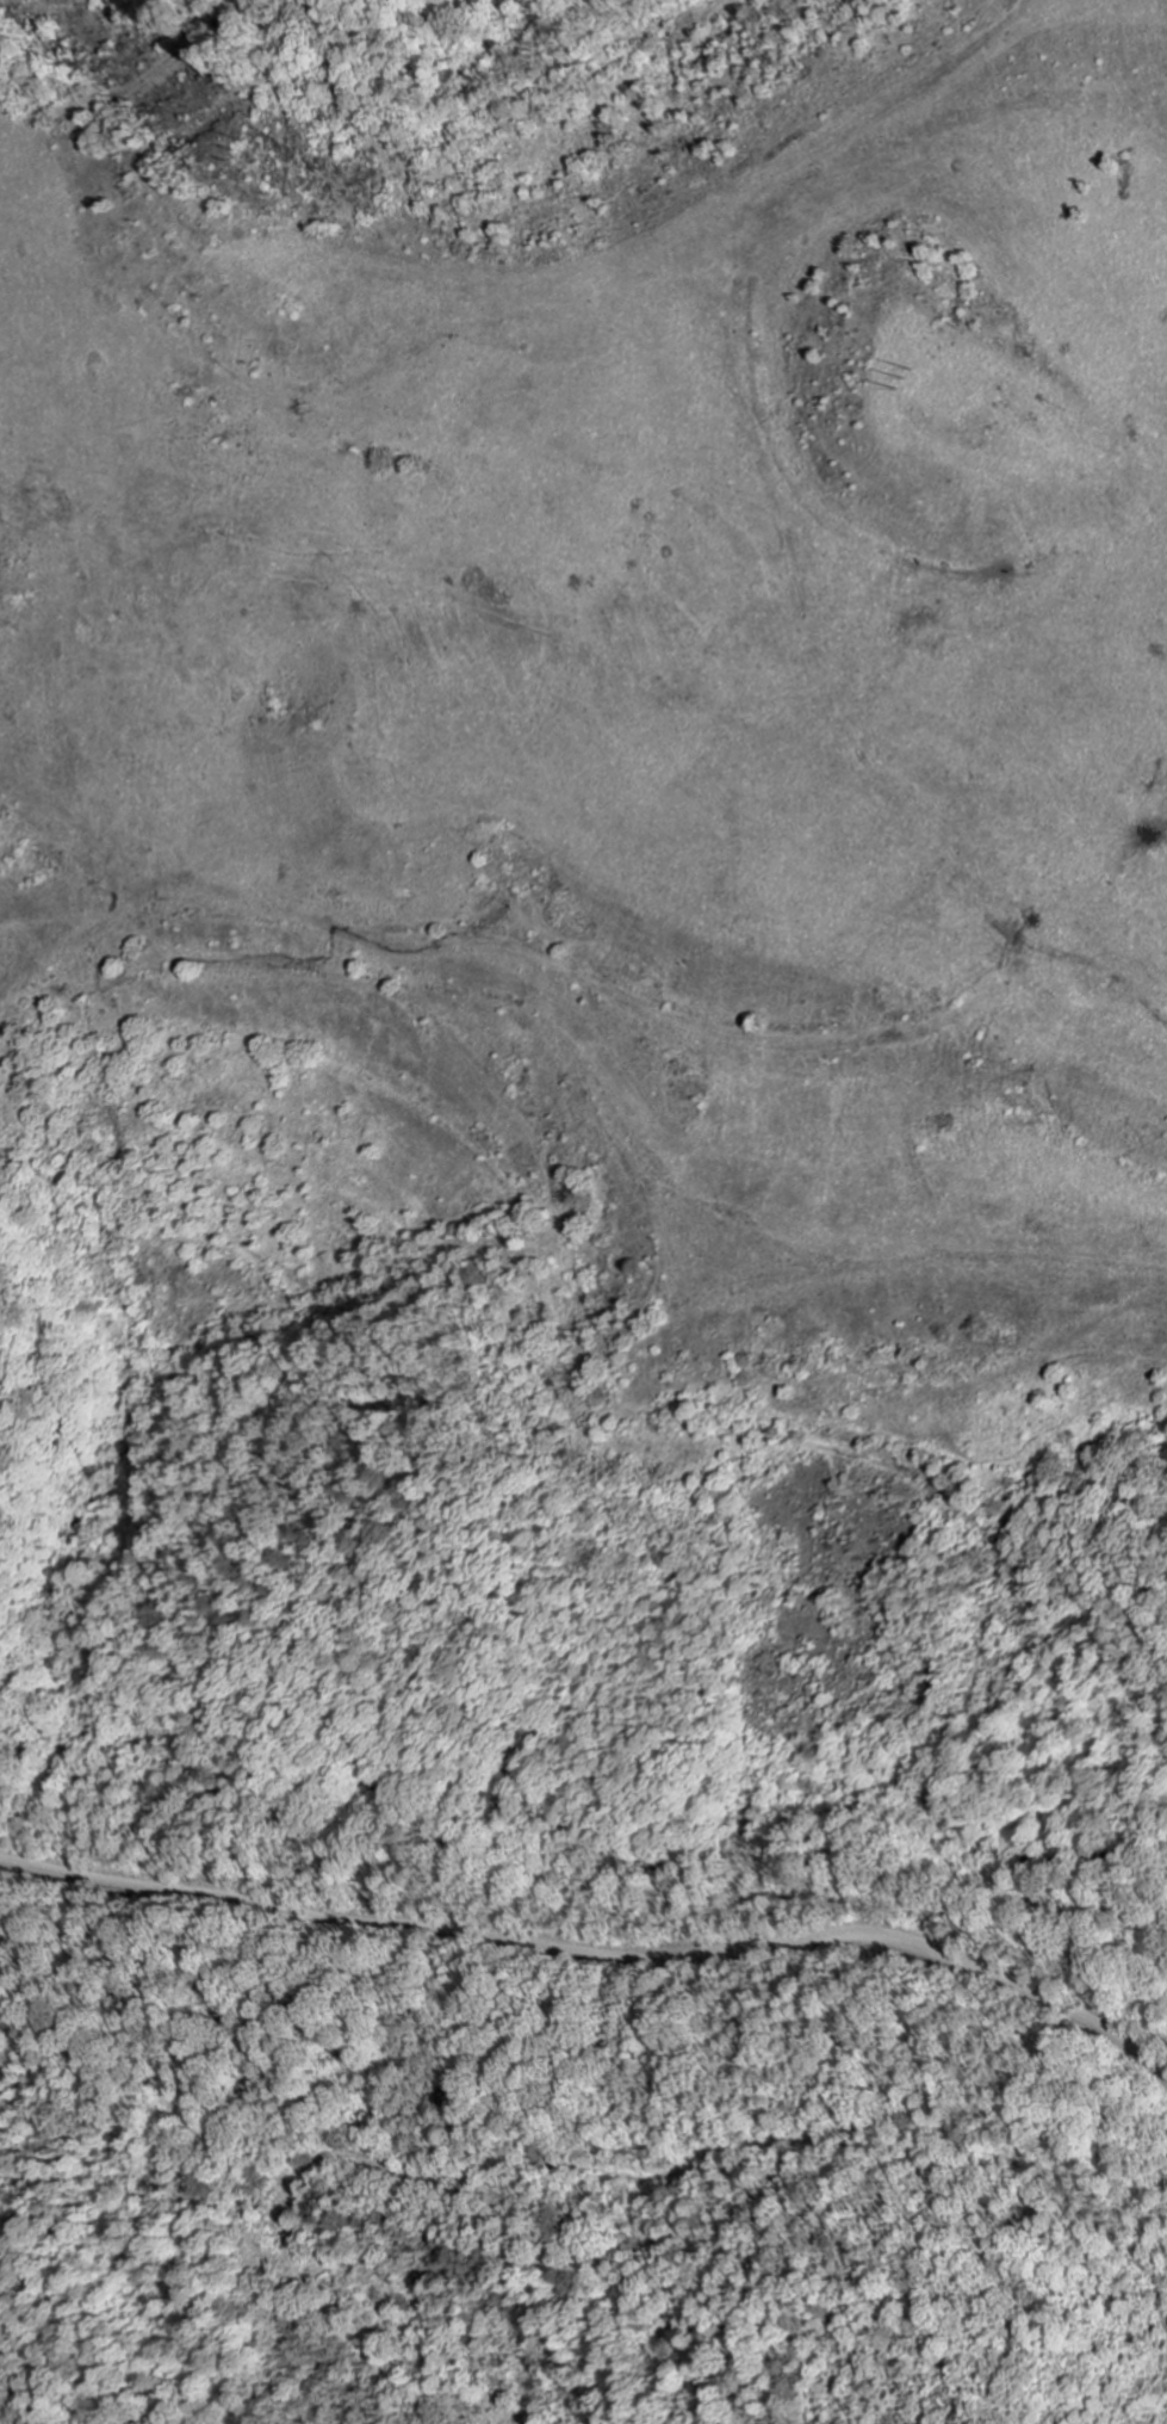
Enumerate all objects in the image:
road: (600, 1954)

